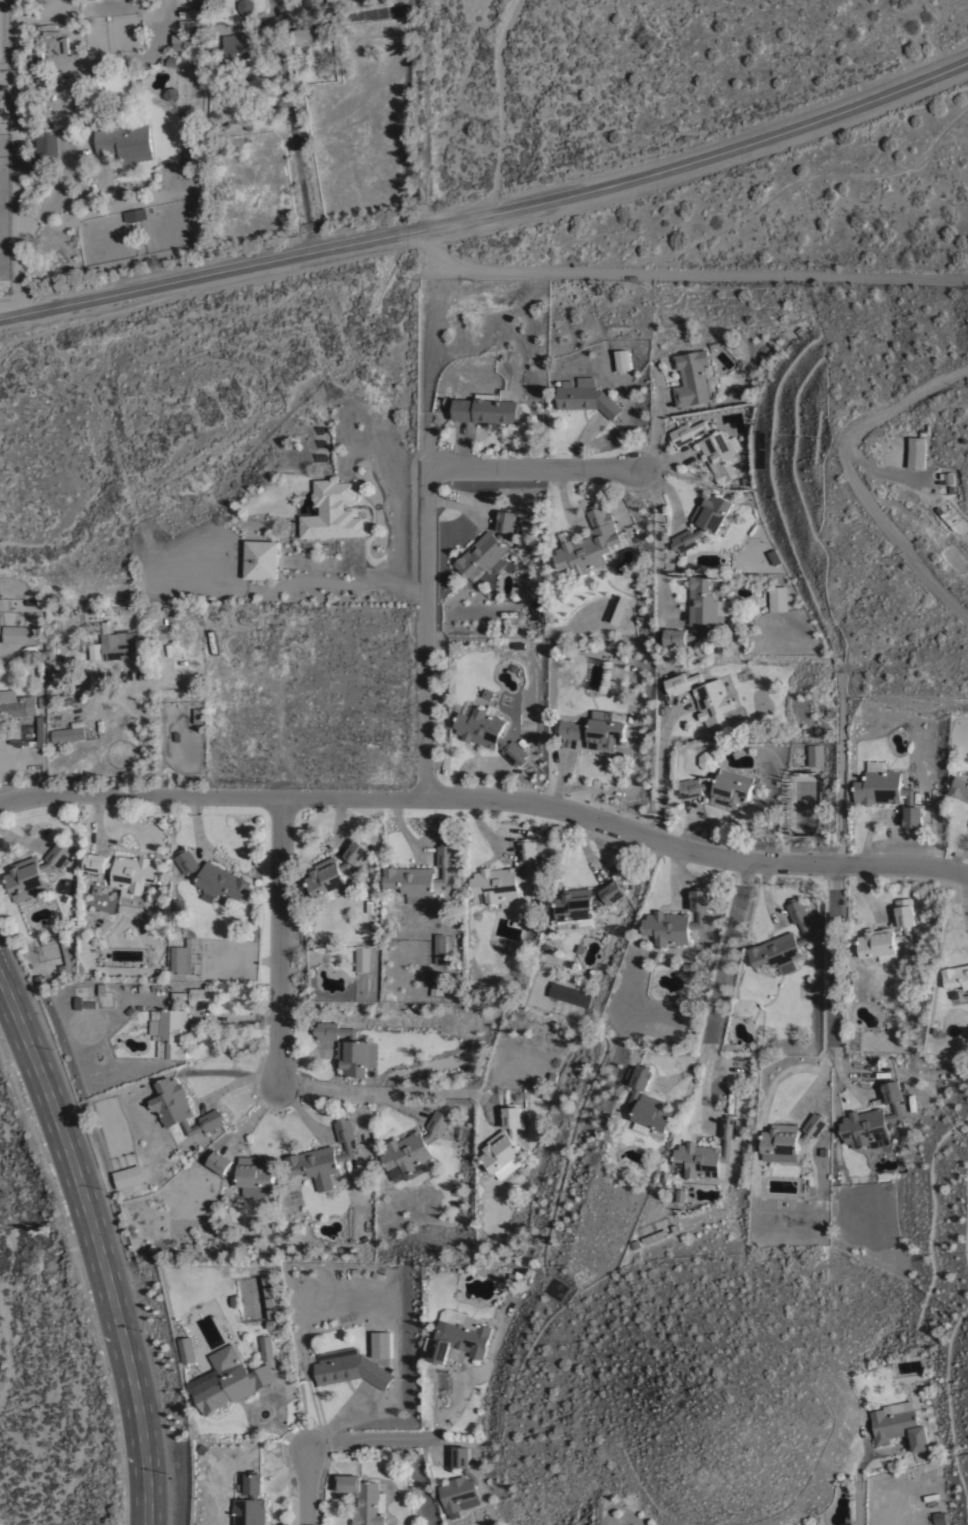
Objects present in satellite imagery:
building: (330, 0)
building: (245, 5)
road: (67, 20)
building: (184, 41)
building: (303, 41)
building: (241, 48)
road: (96, 65)
road: (297, 126)
building: (47, 140)
building: (125, 141)
road: (19, 157)
road: (52, 190)
road: (490, 211)
building: (136, 214)
road: (682, 274)
building: (621, 358)
building: (692, 377)
building: (586, 396)
building: (485, 408)
building: (709, 447)
building: (916, 451)
road: (885, 472)
road: (856, 479)
building: (332, 511)
building: (703, 519)
road: (430, 528)
building: (590, 542)
building: (488, 543)
building: (773, 555)
building: (261, 558)
road: (359, 569)
building: (192, 594)
building: (777, 597)
building: (703, 606)
building: (616, 608)
building: (21, 632)
building: (676, 636)
building: (122, 643)
building: (95, 649)
building: (55, 672)
building: (704, 696)
building: (16, 703)
building: (197, 714)
road: (148, 723)
building: (596, 729)
building: (488, 731)
building: (68, 733)
building: (815, 754)
building: (708, 759)
road: (13, 762)
road: (661, 776)
building: (960, 786)
building: (720, 787)
building: (888, 793)
road: (488, 798)
building: (124, 870)
building: (334, 871)
building: (34, 872)
building: (421, 872)
building: (505, 874)
building: (212, 876)
building: (179, 903)
building: (584, 904)
building: (677, 919)
building: (888, 931)
building: (783, 939)
road: (279, 940)
building: (439, 947)
road: (835, 953)
building: (182, 956)
building: (362, 958)
building: (689, 967)
building: (956, 975)
road: (719, 992)
building: (570, 993)
building: (177, 1022)
building: (348, 1047)
road: (682, 1070)
road: (387, 1089)
building: (647, 1099)
building: (181, 1107)
building: (873, 1119)
building: (790, 1136)
building: (504, 1143)
building: (414, 1144)
building: (706, 1151)
building: (323, 1156)
building: (246, 1171)
building: (129, 1175)
building: (680, 1194)
road: (104, 1233)
building: (654, 1234)
building: (459, 1338)
building: (381, 1343)
building: (266, 1346)
building: (188, 1348)
building: (349, 1367)
building: (230, 1379)
building: (898, 1423)
road: (403, 1433)
building: (460, 1484)
road: (303, 1487)
building: (364, 1499)
building: (250, 1501)
road: (857, 1502)
building: (940, 1516)

